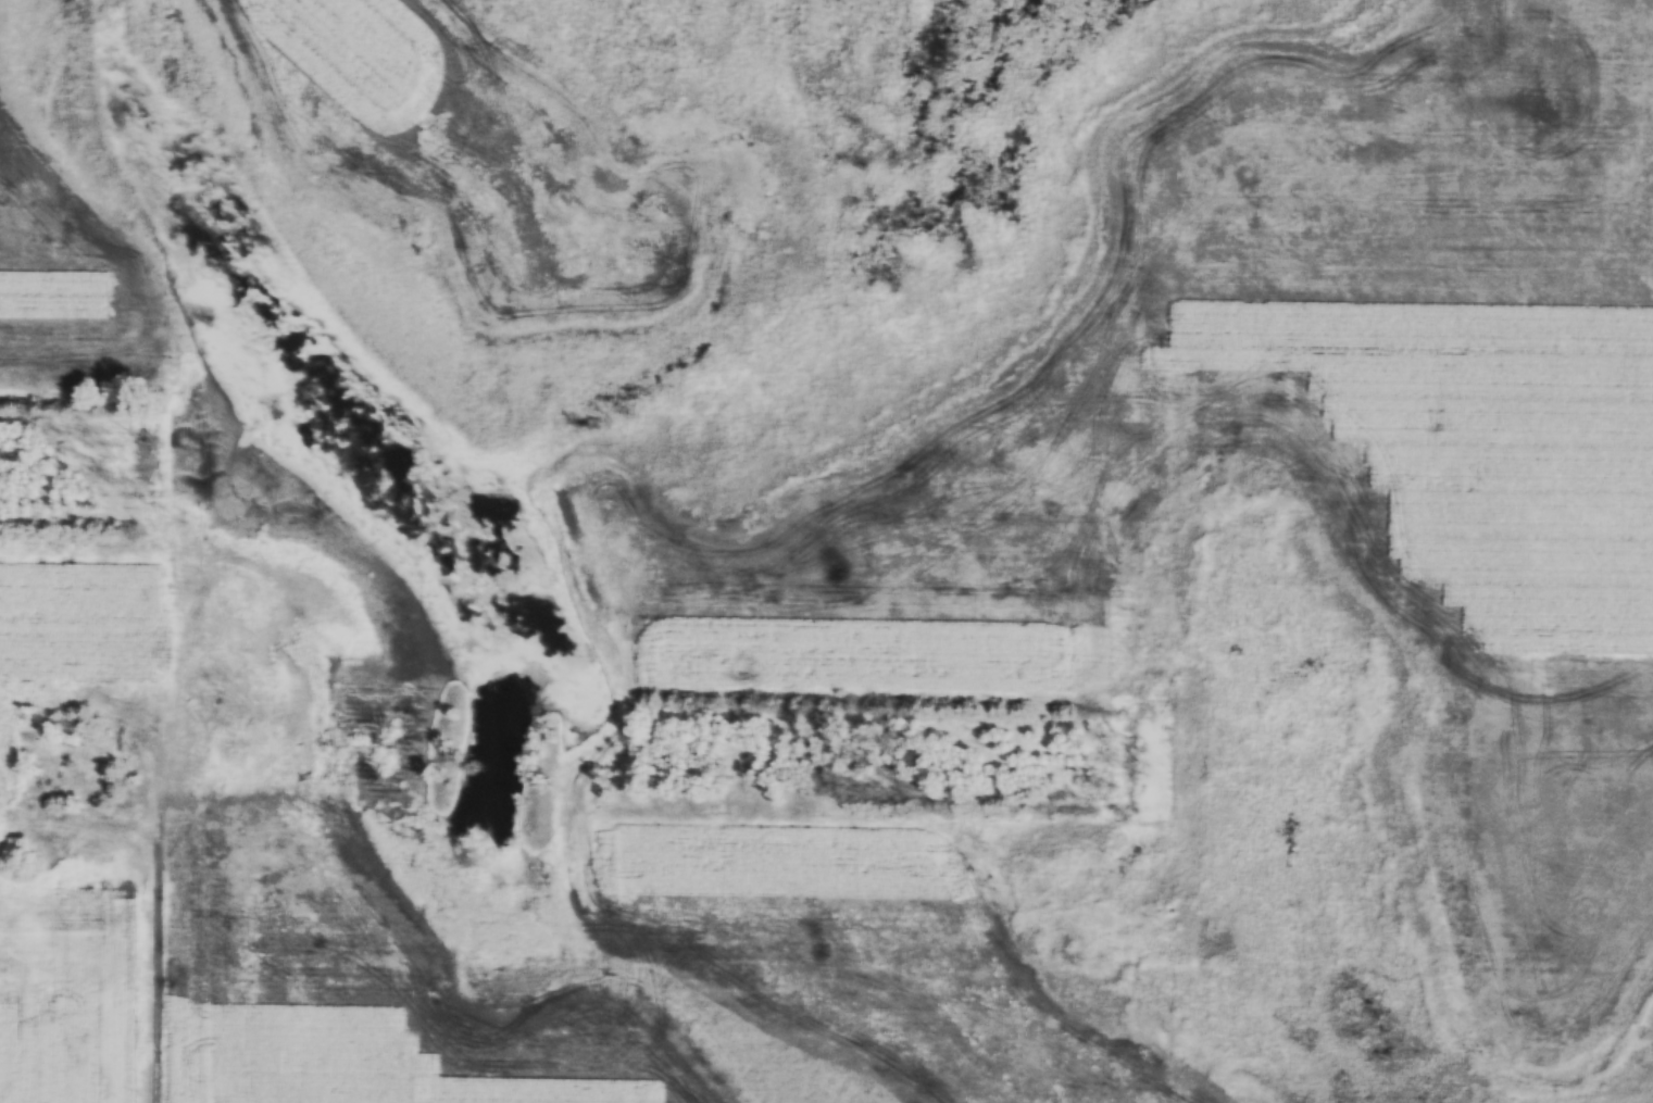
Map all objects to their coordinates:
building: (0, 826)
road: (160, 927)

